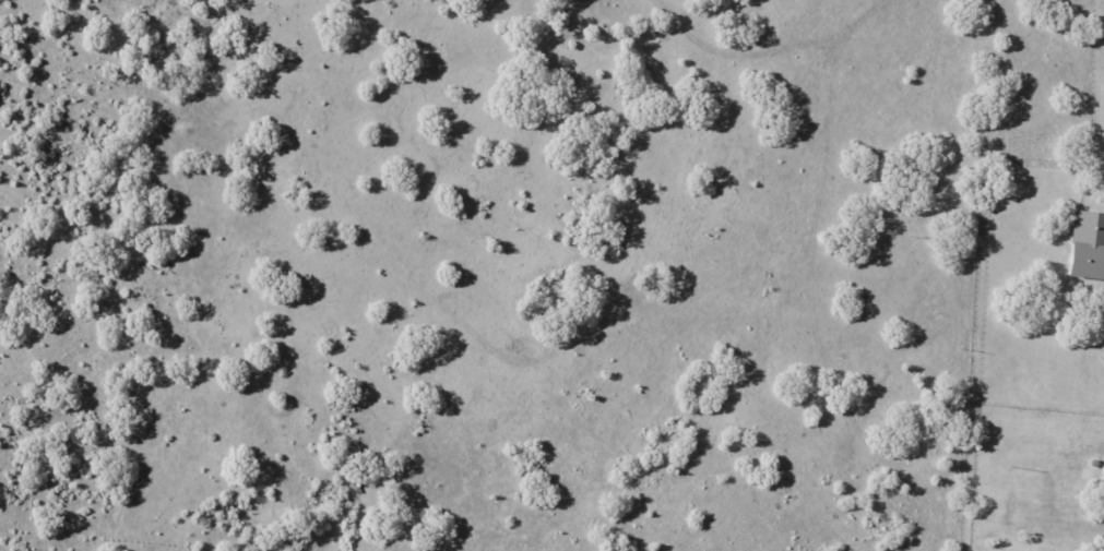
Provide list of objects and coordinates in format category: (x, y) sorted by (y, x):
building: (1088, 245)

